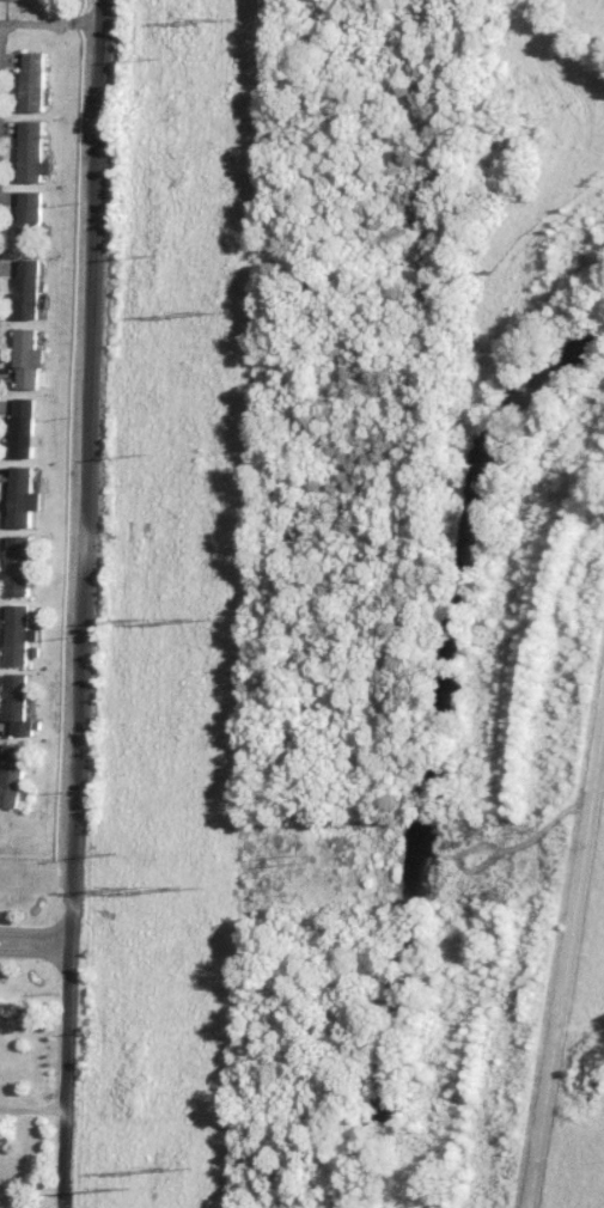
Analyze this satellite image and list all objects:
power tower: (214, 22)
road: (51, 24)
building: (33, 81)
building: (32, 152)
building: (29, 221)
building: (28, 289)
power tower: (202, 315)
building: (28, 359)
building: (24, 428)
building: (23, 496)
building: (19, 566)
road: (86, 604)
power tower: (191, 616)
power tower: (135, 617)
building: (18, 635)
building: (17, 704)
river: (437, 744)
building: (11, 775)
power tower: (181, 884)
power tower: (124, 886)
road: (38, 945)
power tower: (173, 1167)
power tower: (117, 1185)

